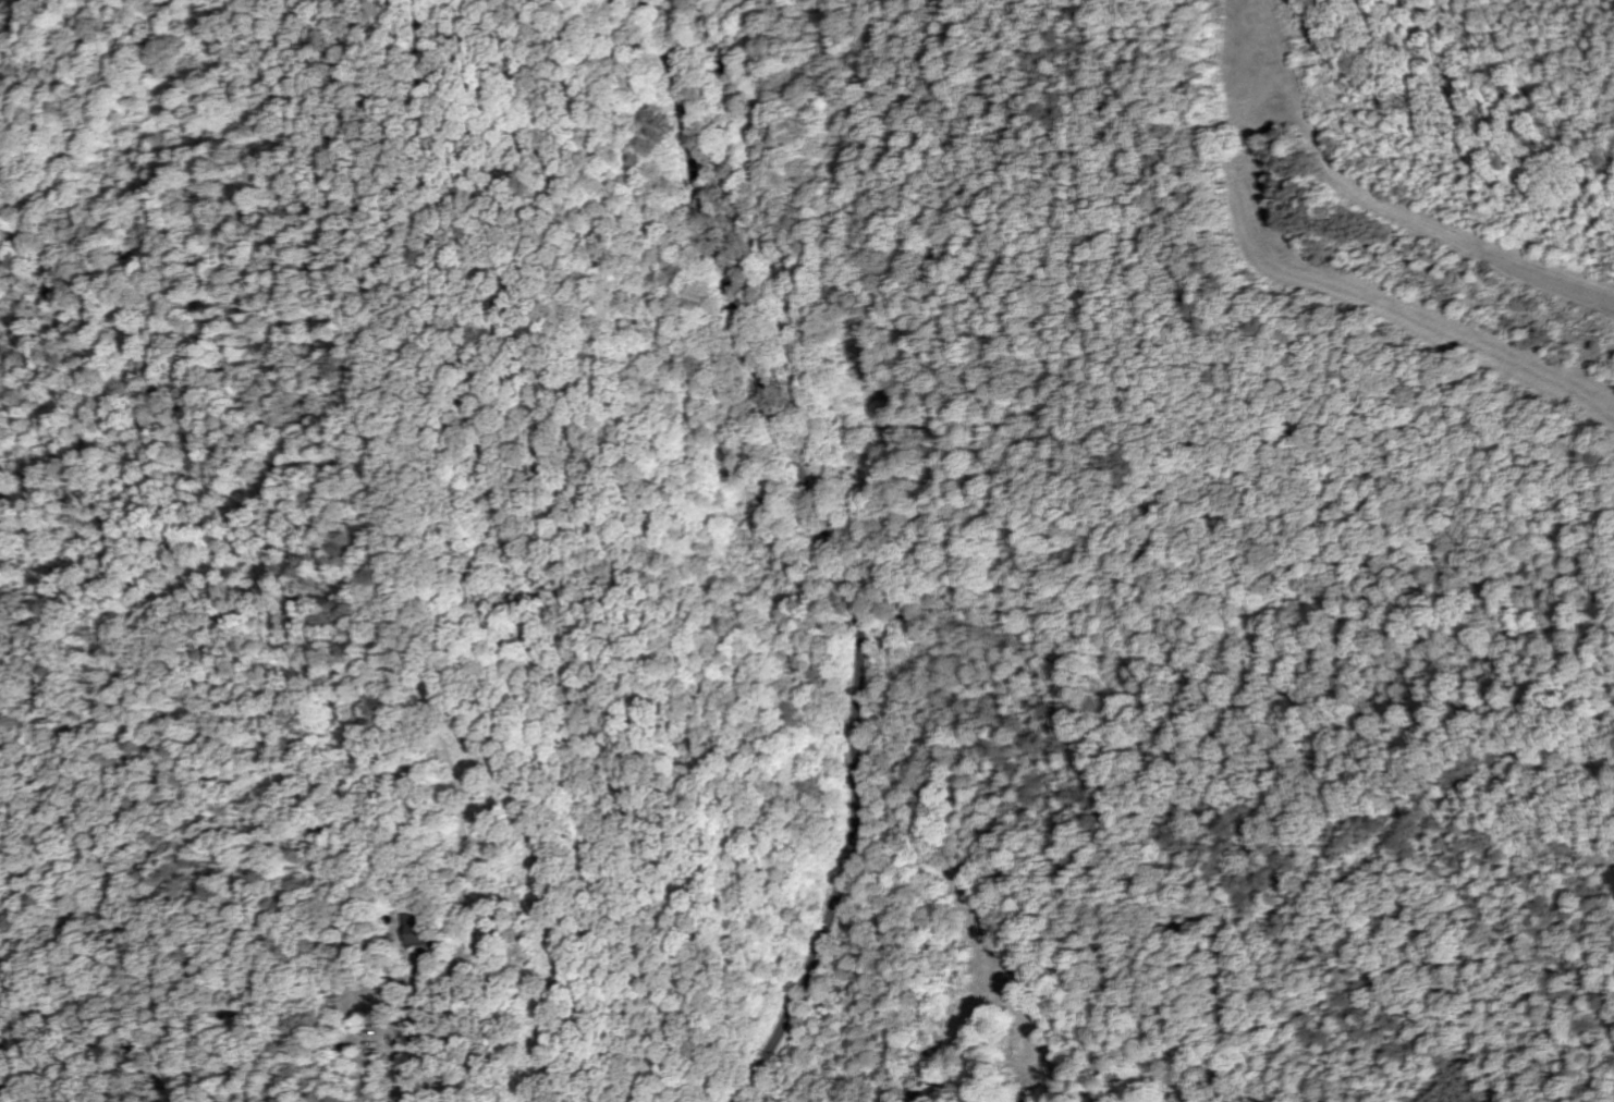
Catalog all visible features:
road: (829, 543)
building: (1612, 877)
building: (436, 935)

